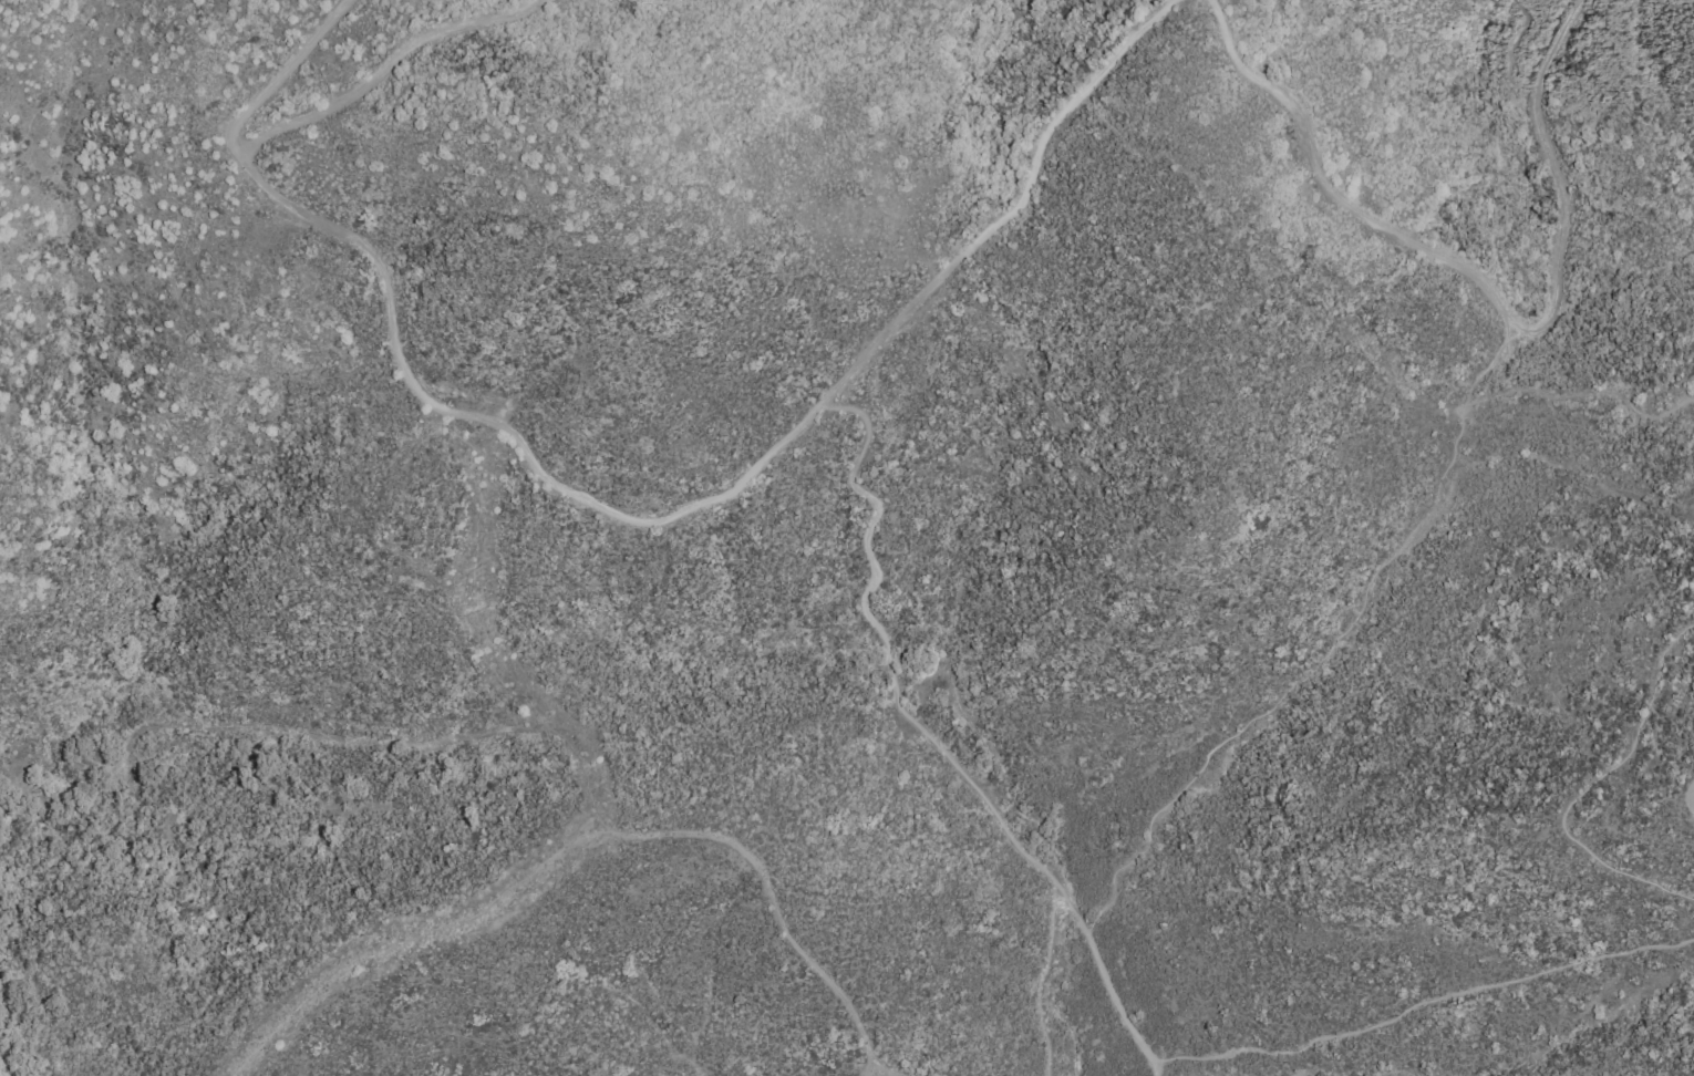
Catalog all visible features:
road: (1511, 50)
road: (385, 68)
road: (281, 74)
road: (1484, 289)
road: (1583, 400)
road: (723, 496)
road: (466, 580)
road: (1328, 650)
road: (319, 737)
road: (929, 738)
road: (1578, 783)
road: (1690, 798)
road: (581, 841)
road: (1042, 982)
road: (1422, 1004)
road: (881, 1075)

